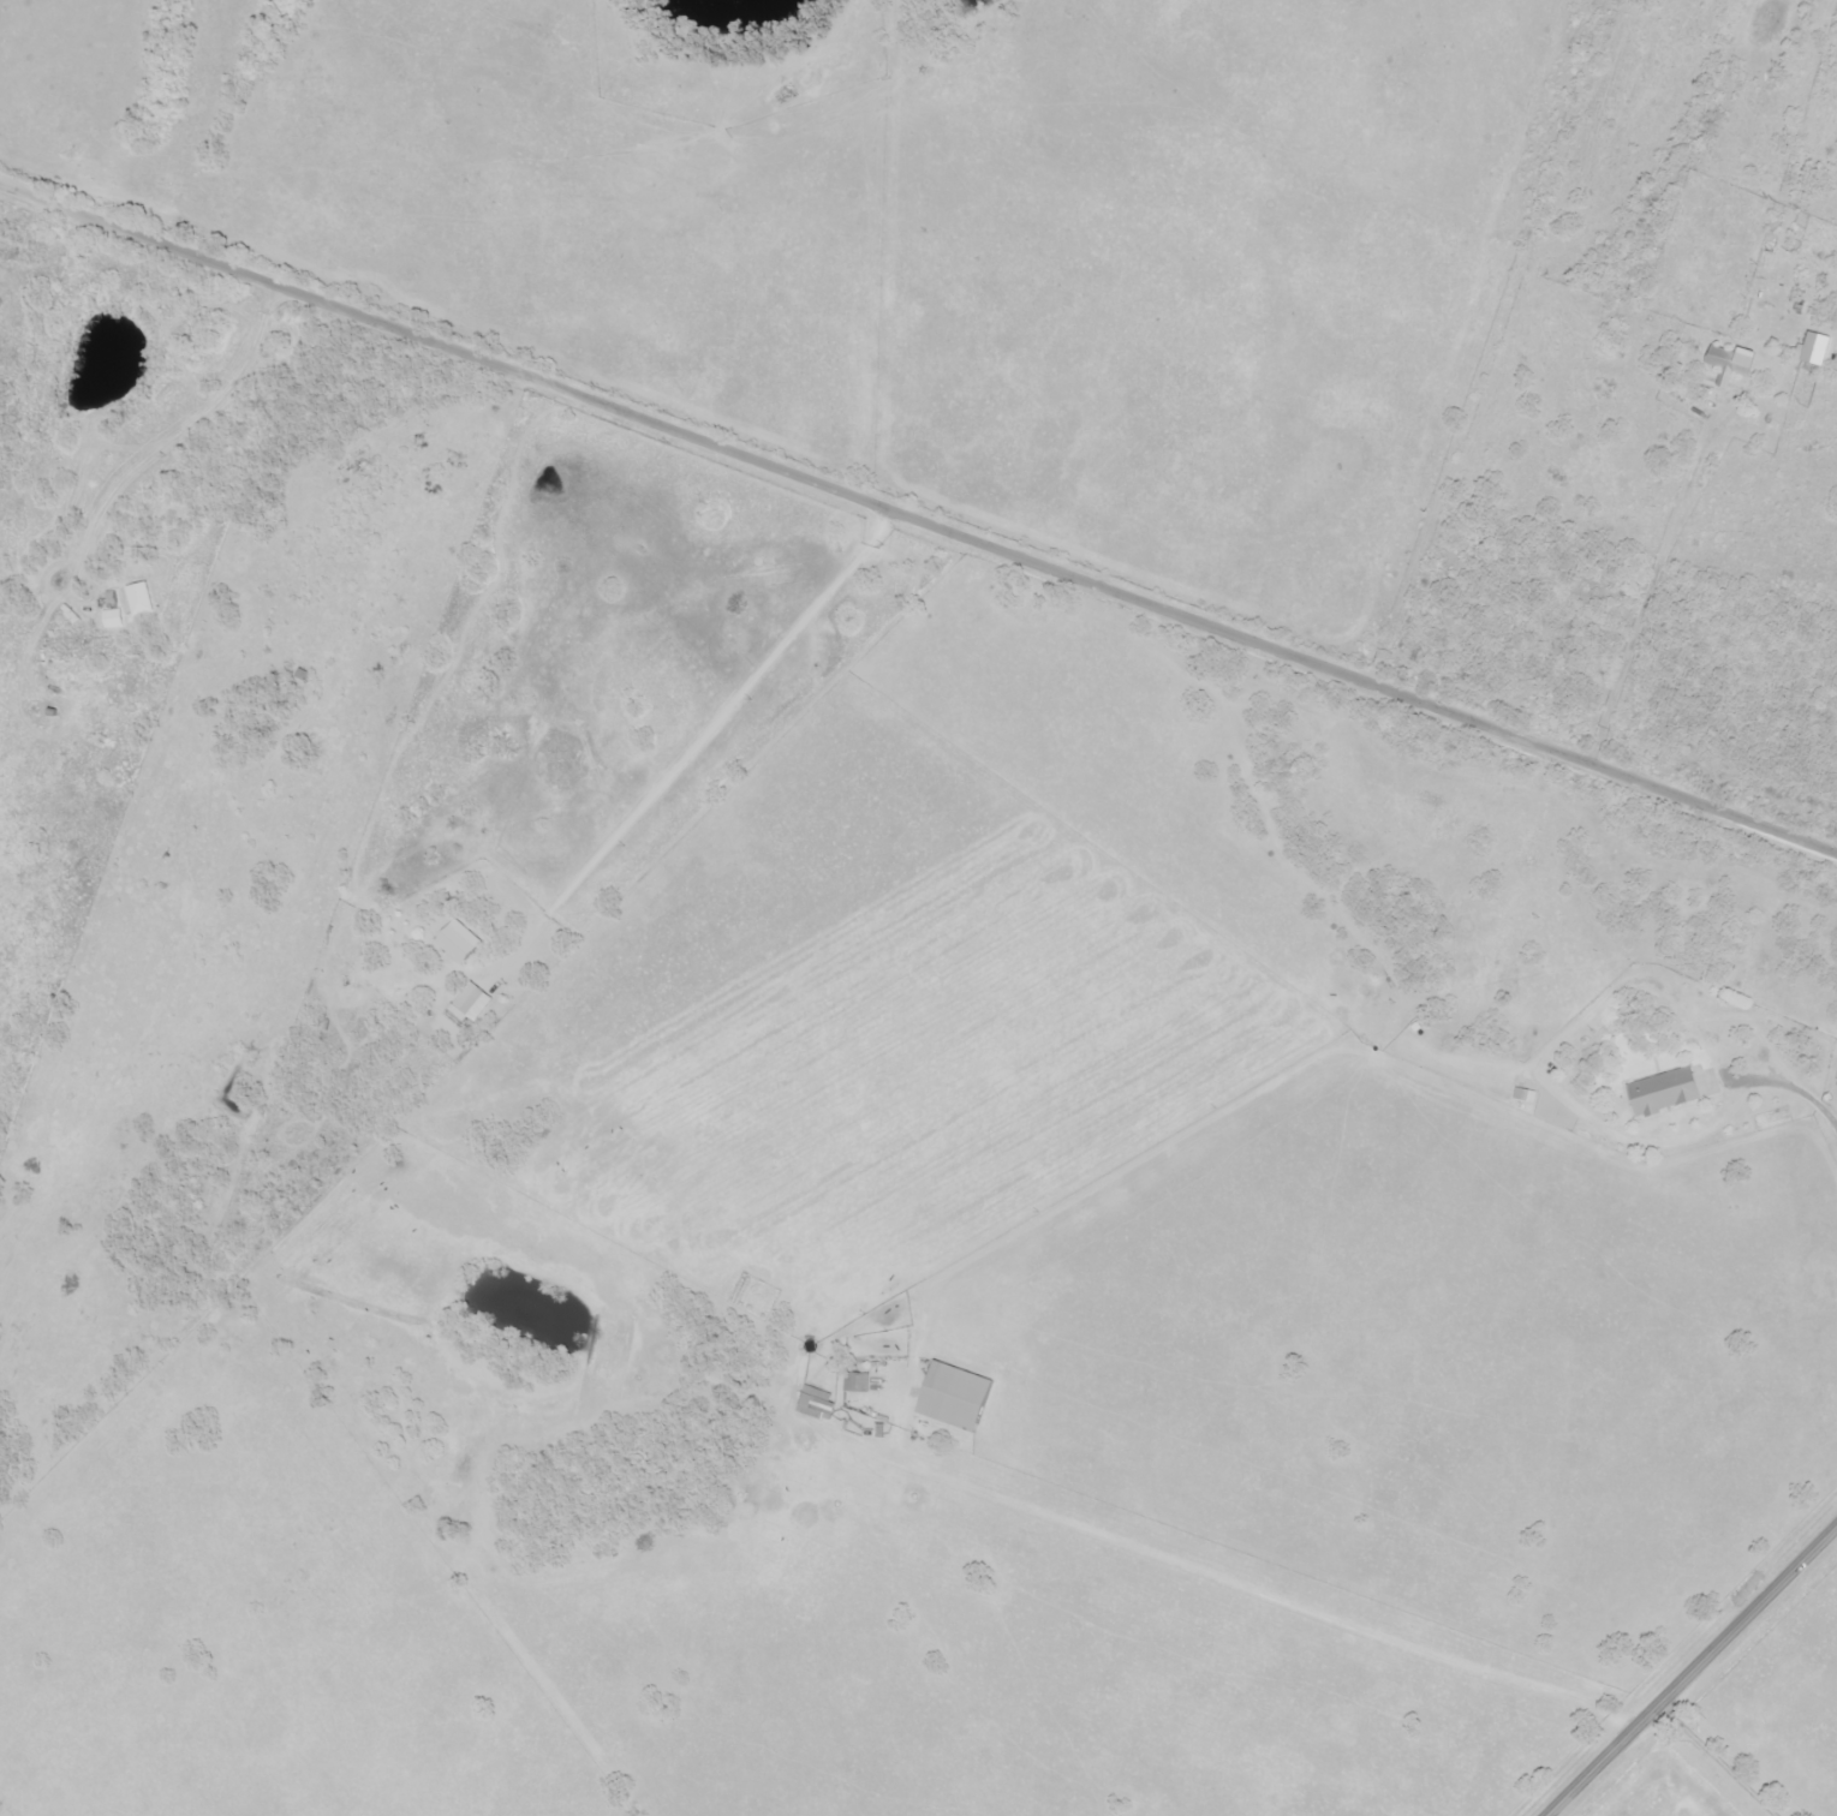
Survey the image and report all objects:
building: (1813, 352)
building: (1729, 364)
building: (73, 468)
road: (918, 520)
road: (1651, 579)
building: (138, 599)
building: (302, 676)
building: (461, 932)
building: (1663, 1094)
building: (855, 1385)
building: (953, 1398)
building: (813, 1404)
road: (1217, 1571)
road: (1690, 1671)
road: (1714, 1760)

